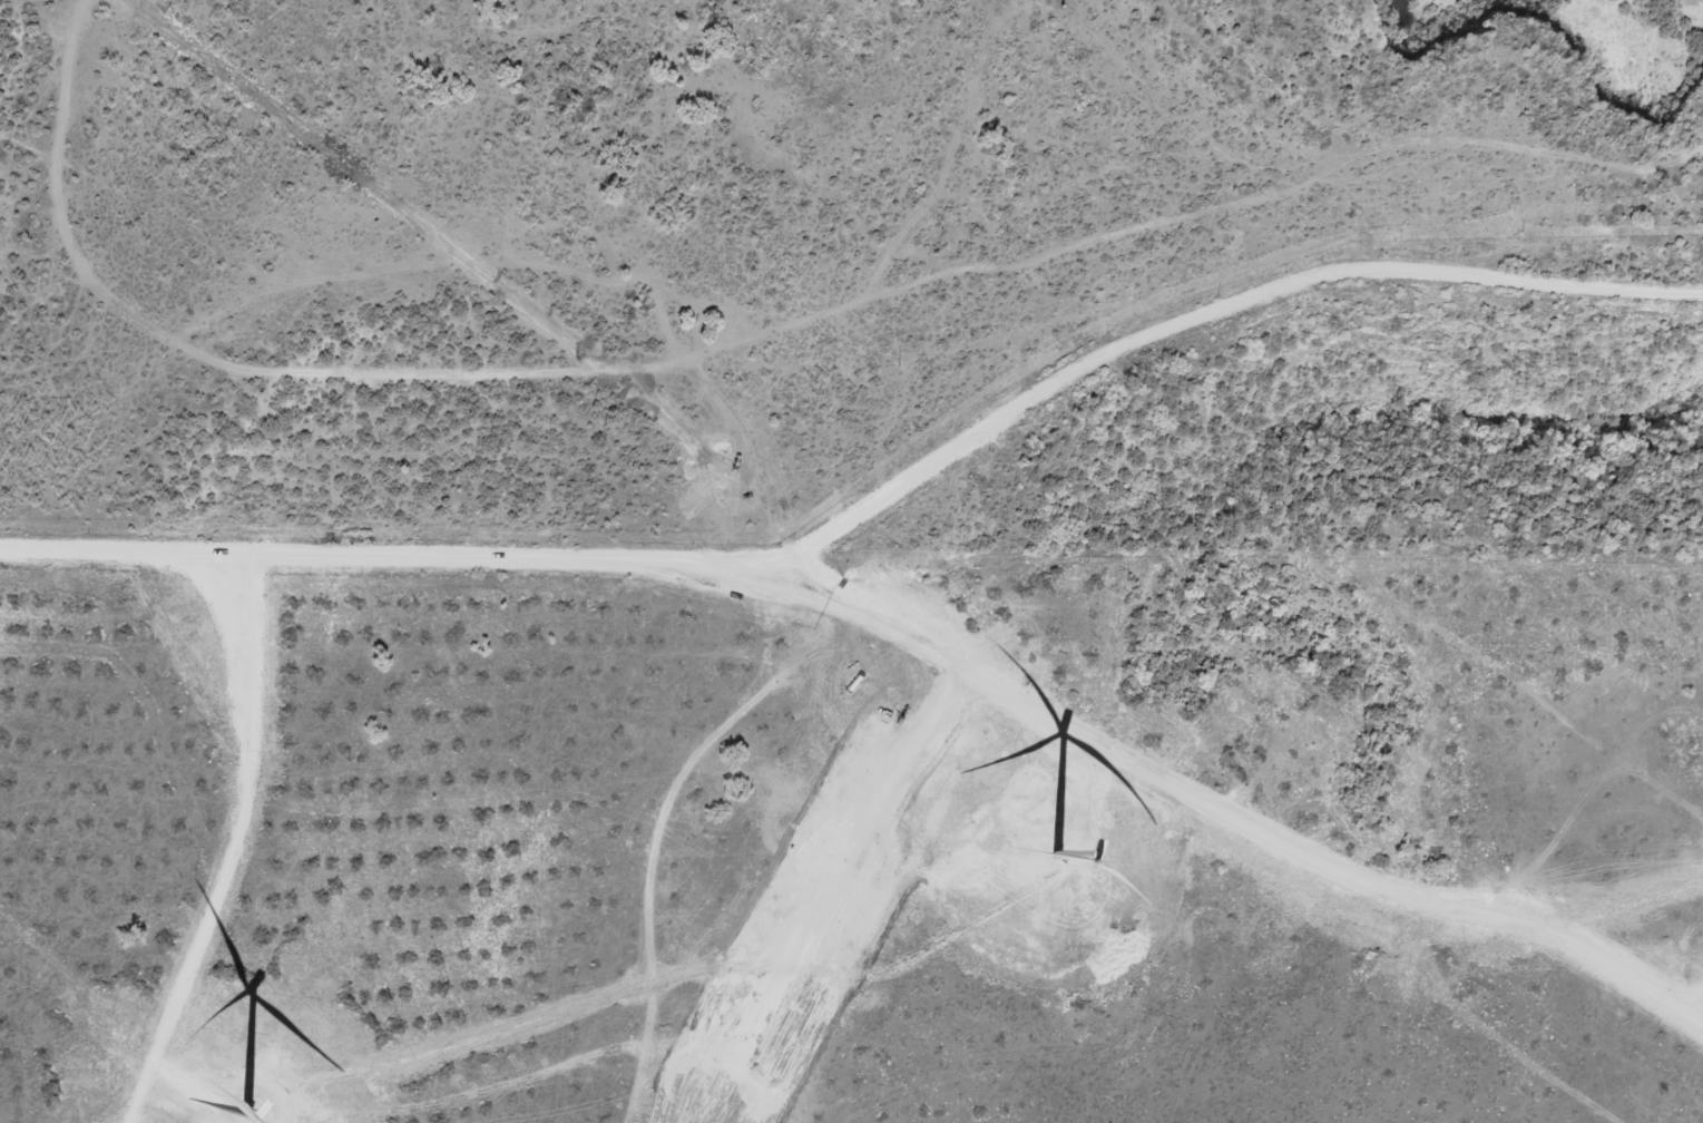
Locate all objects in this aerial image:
road: (875, 507)
road: (871, 539)
road: (745, 829)
wind turbine: (1059, 844)
wind turbine: (242, 1090)

